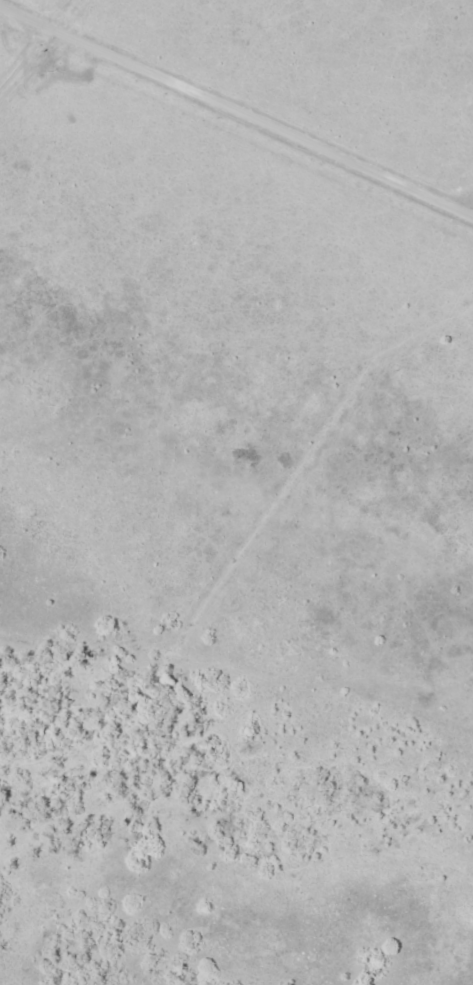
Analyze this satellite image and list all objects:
road: (236, 117)

